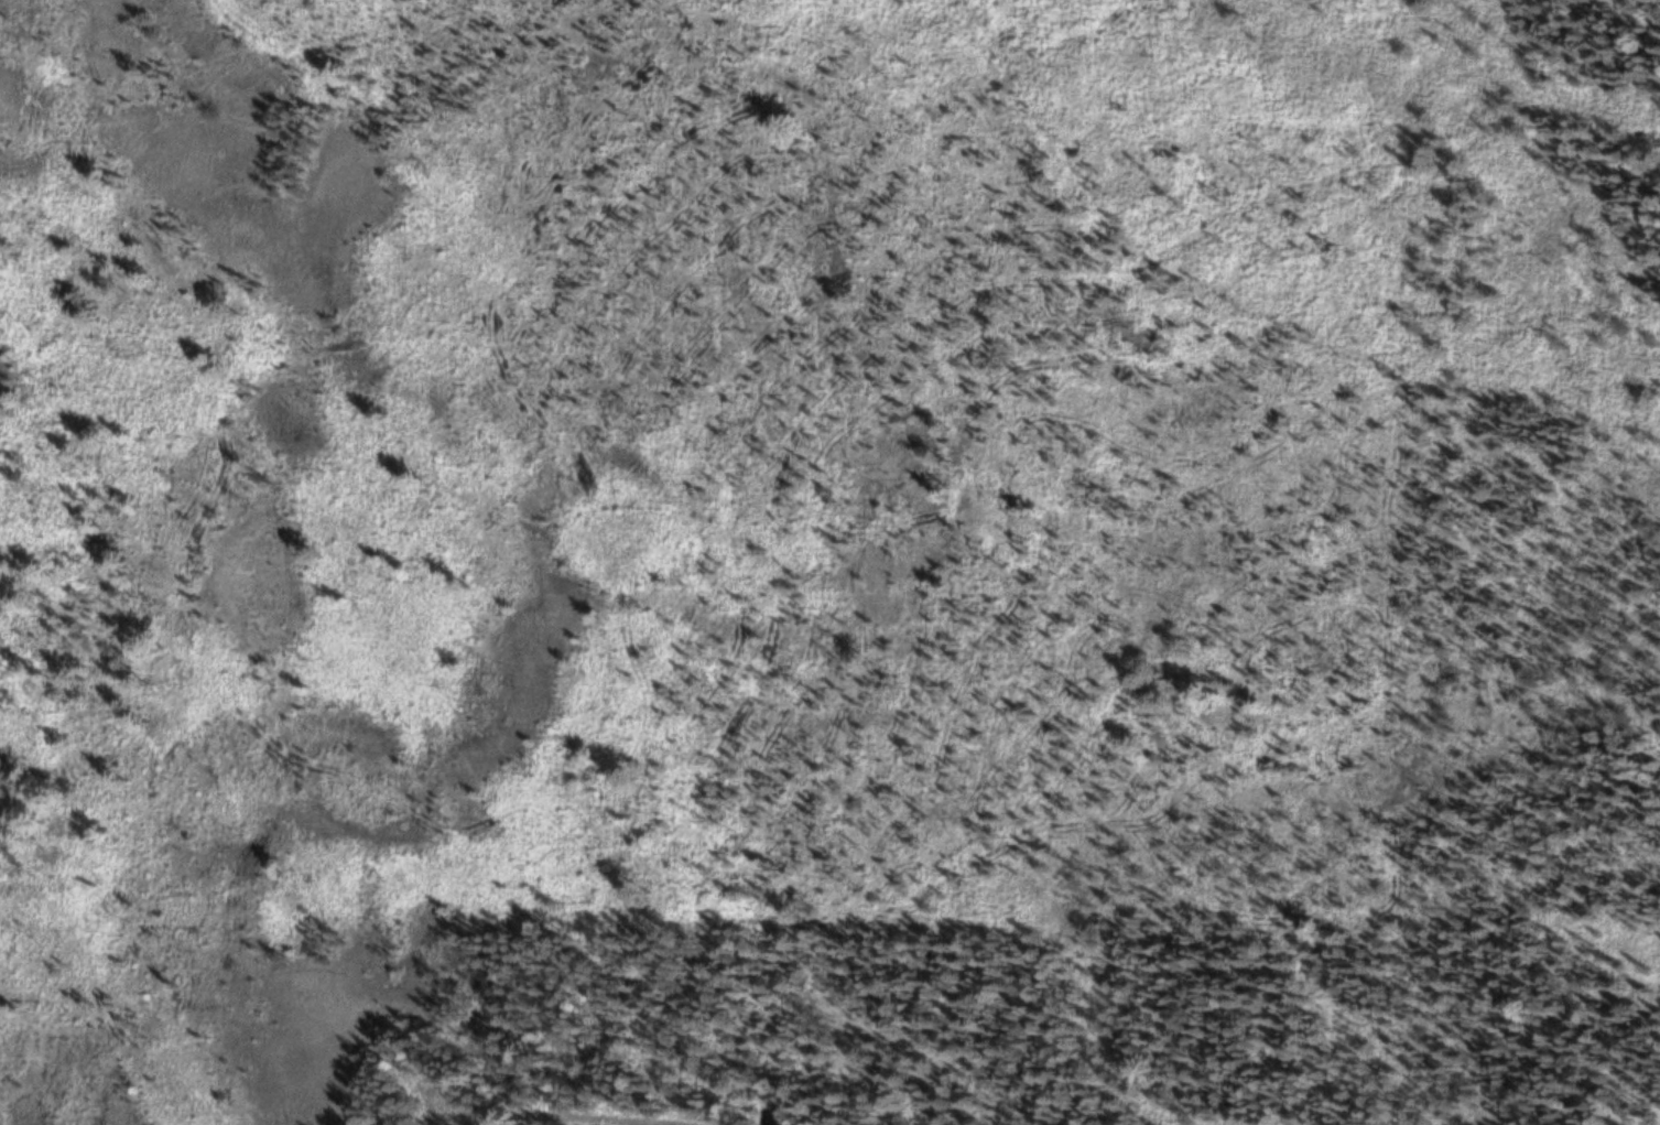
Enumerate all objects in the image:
road: (585, 1114)

